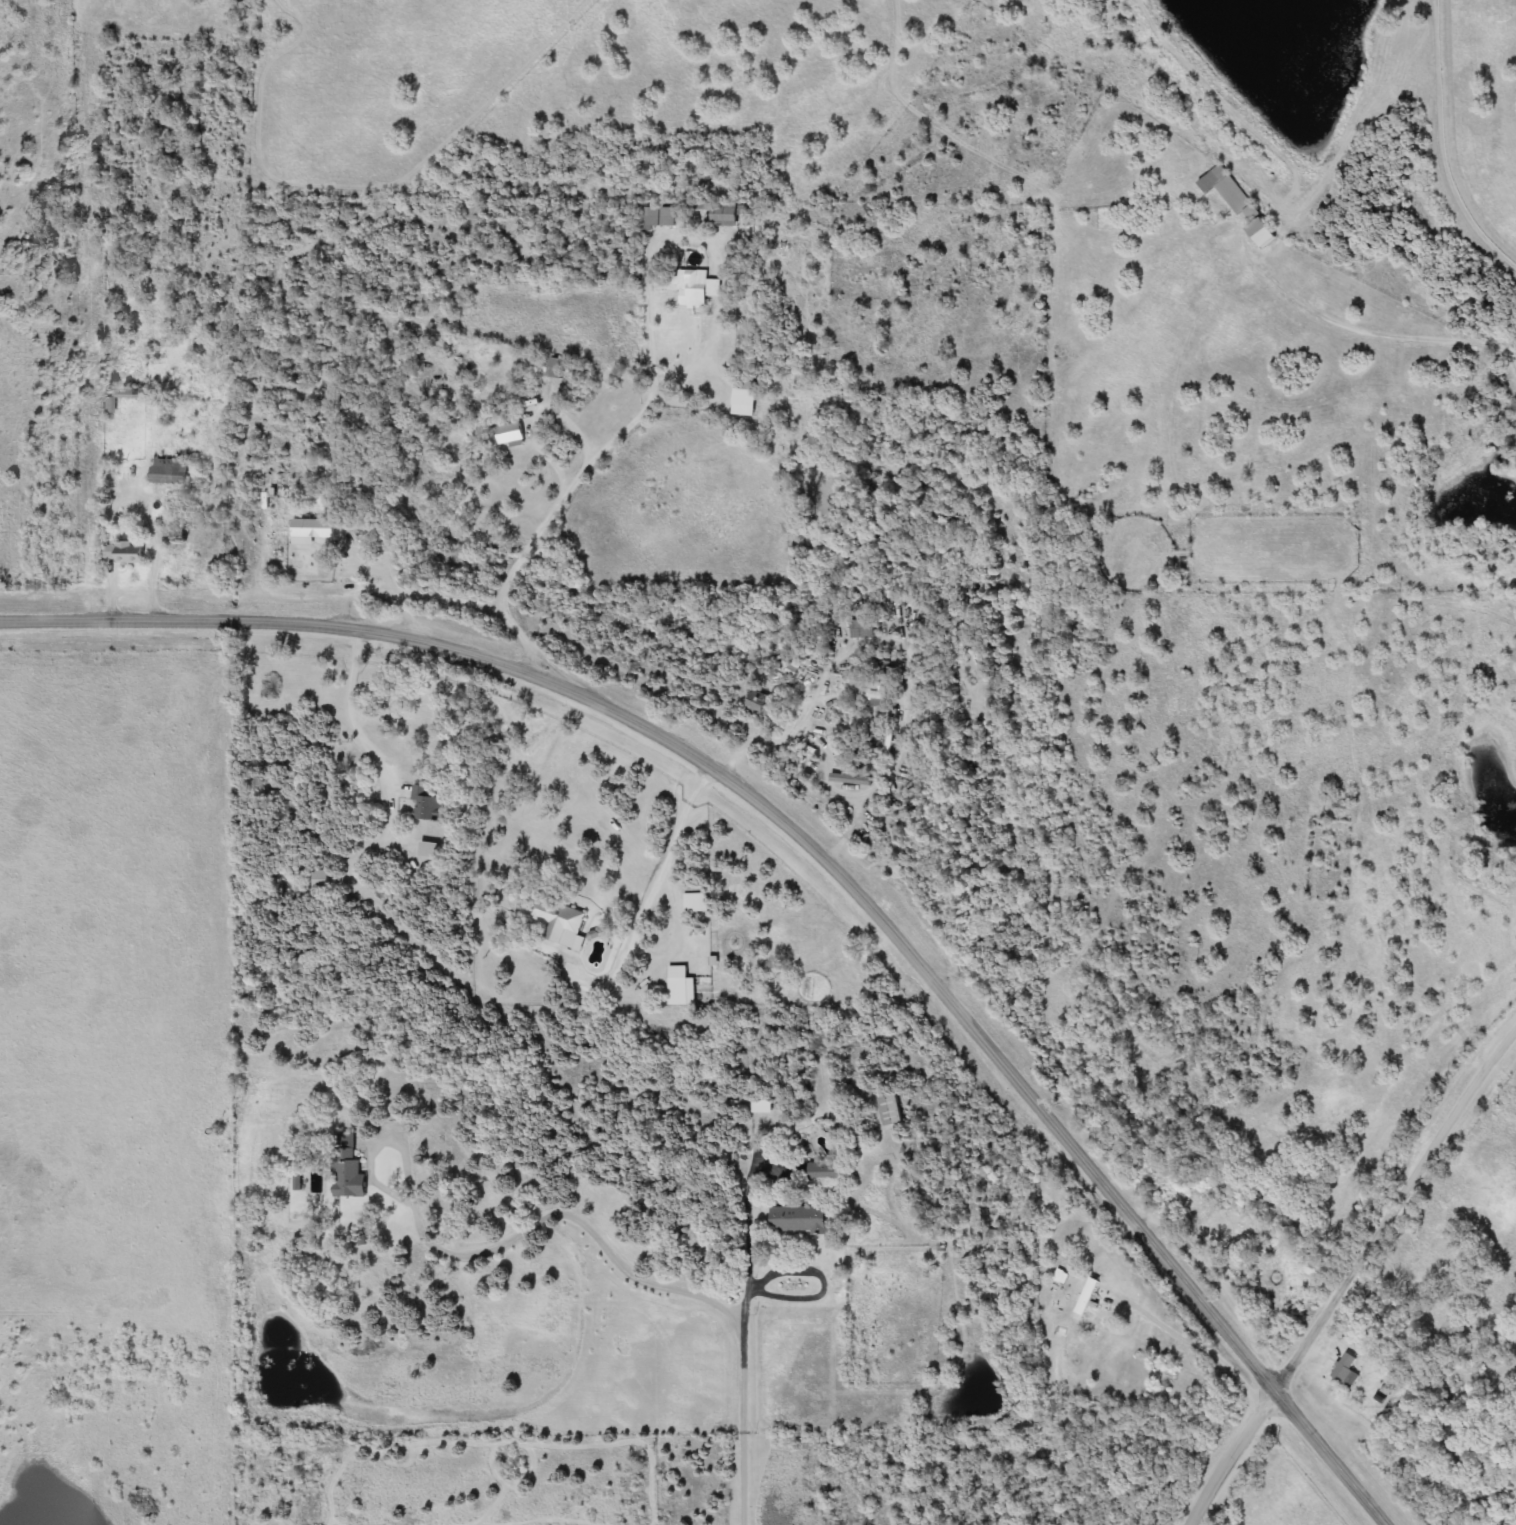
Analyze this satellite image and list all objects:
building: (142, 7)
road: (1437, 150)
building: (1240, 202)
building: (727, 216)
building: (661, 218)
building: (696, 288)
road: (1366, 330)
building: (558, 368)
building: (124, 396)
building: (513, 432)
building: (174, 471)
road: (559, 498)
building: (313, 531)
building: (128, 552)
road: (159, 556)
building: (864, 629)
road: (511, 660)
building: (873, 690)
building: (762, 708)
road: (356, 720)
road: (754, 794)
building: (427, 804)
road: (658, 876)
building: (321, 879)
building: (698, 898)
building: (557, 920)
airport: (115, 979)
building: (678, 985)
building: (892, 1109)
road: (393, 1132)
building: (348, 1168)
building: (1149, 1170)
building: (825, 1172)
road: (582, 1214)
building: (798, 1219)
road: (749, 1230)
road: (1350, 1274)
building: (1089, 1295)
road: (1200, 1348)
building: (1346, 1363)
road: (745, 1423)
road: (1331, 1458)

